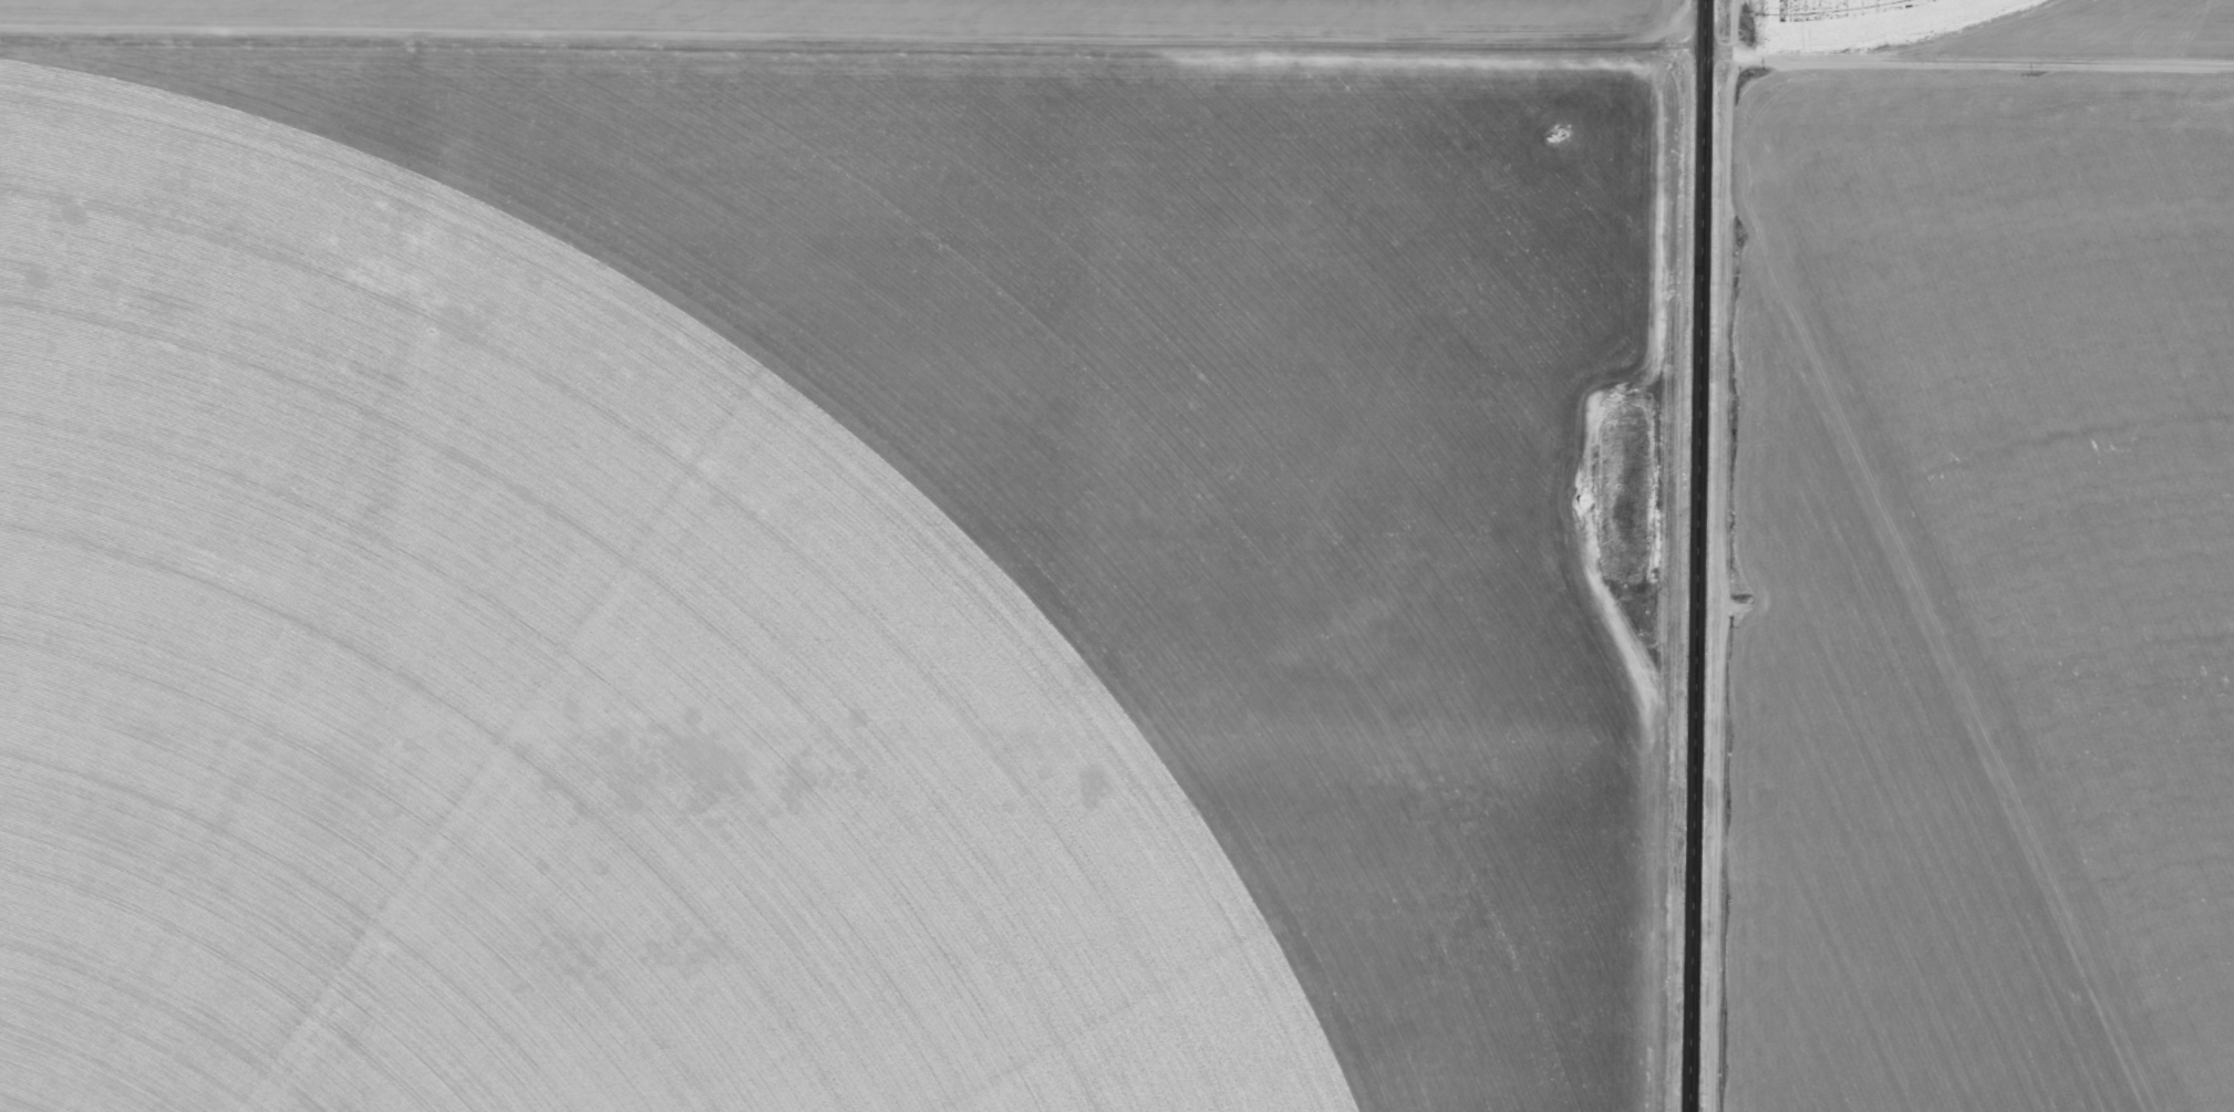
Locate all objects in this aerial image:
road: (1116, 73)
road: (1702, 555)
road: (394, 594)

